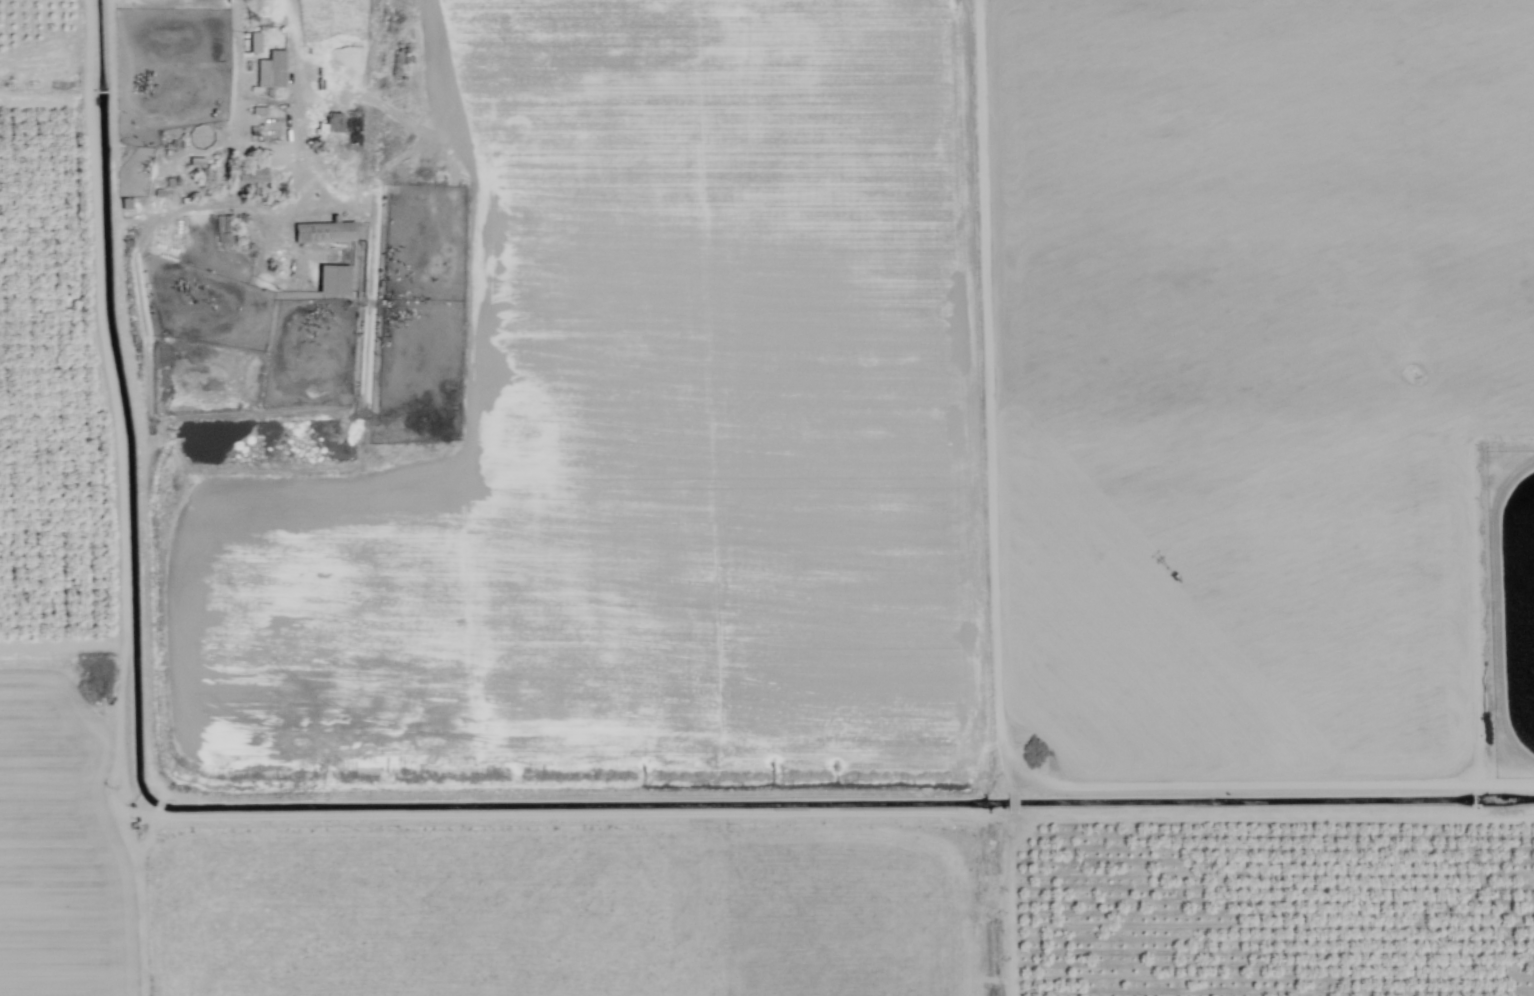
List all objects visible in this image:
power tower: (244, 0)
power tower: (254, 24)
building: (270, 70)
road: (291, 127)
building: (195, 161)
building: (247, 175)
building: (222, 231)
building: (323, 232)
building: (332, 279)

